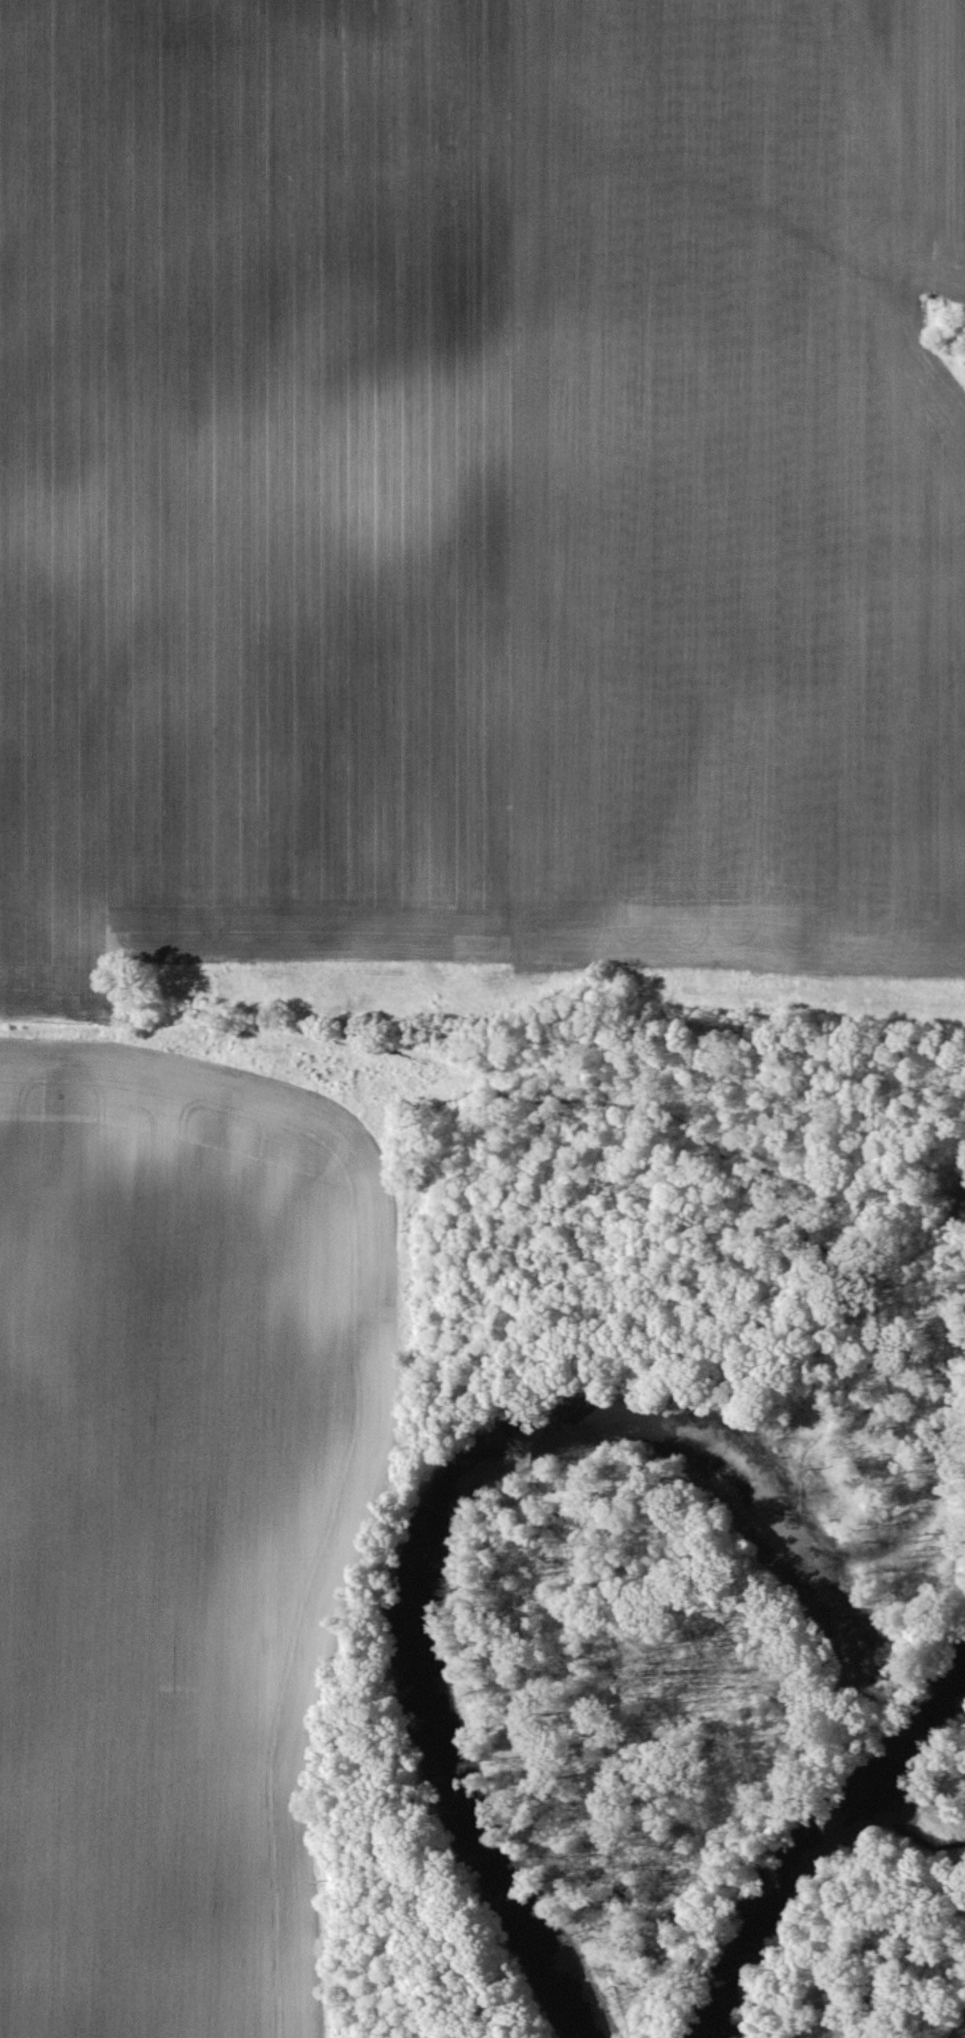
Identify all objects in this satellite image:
river: (825, 1851)

